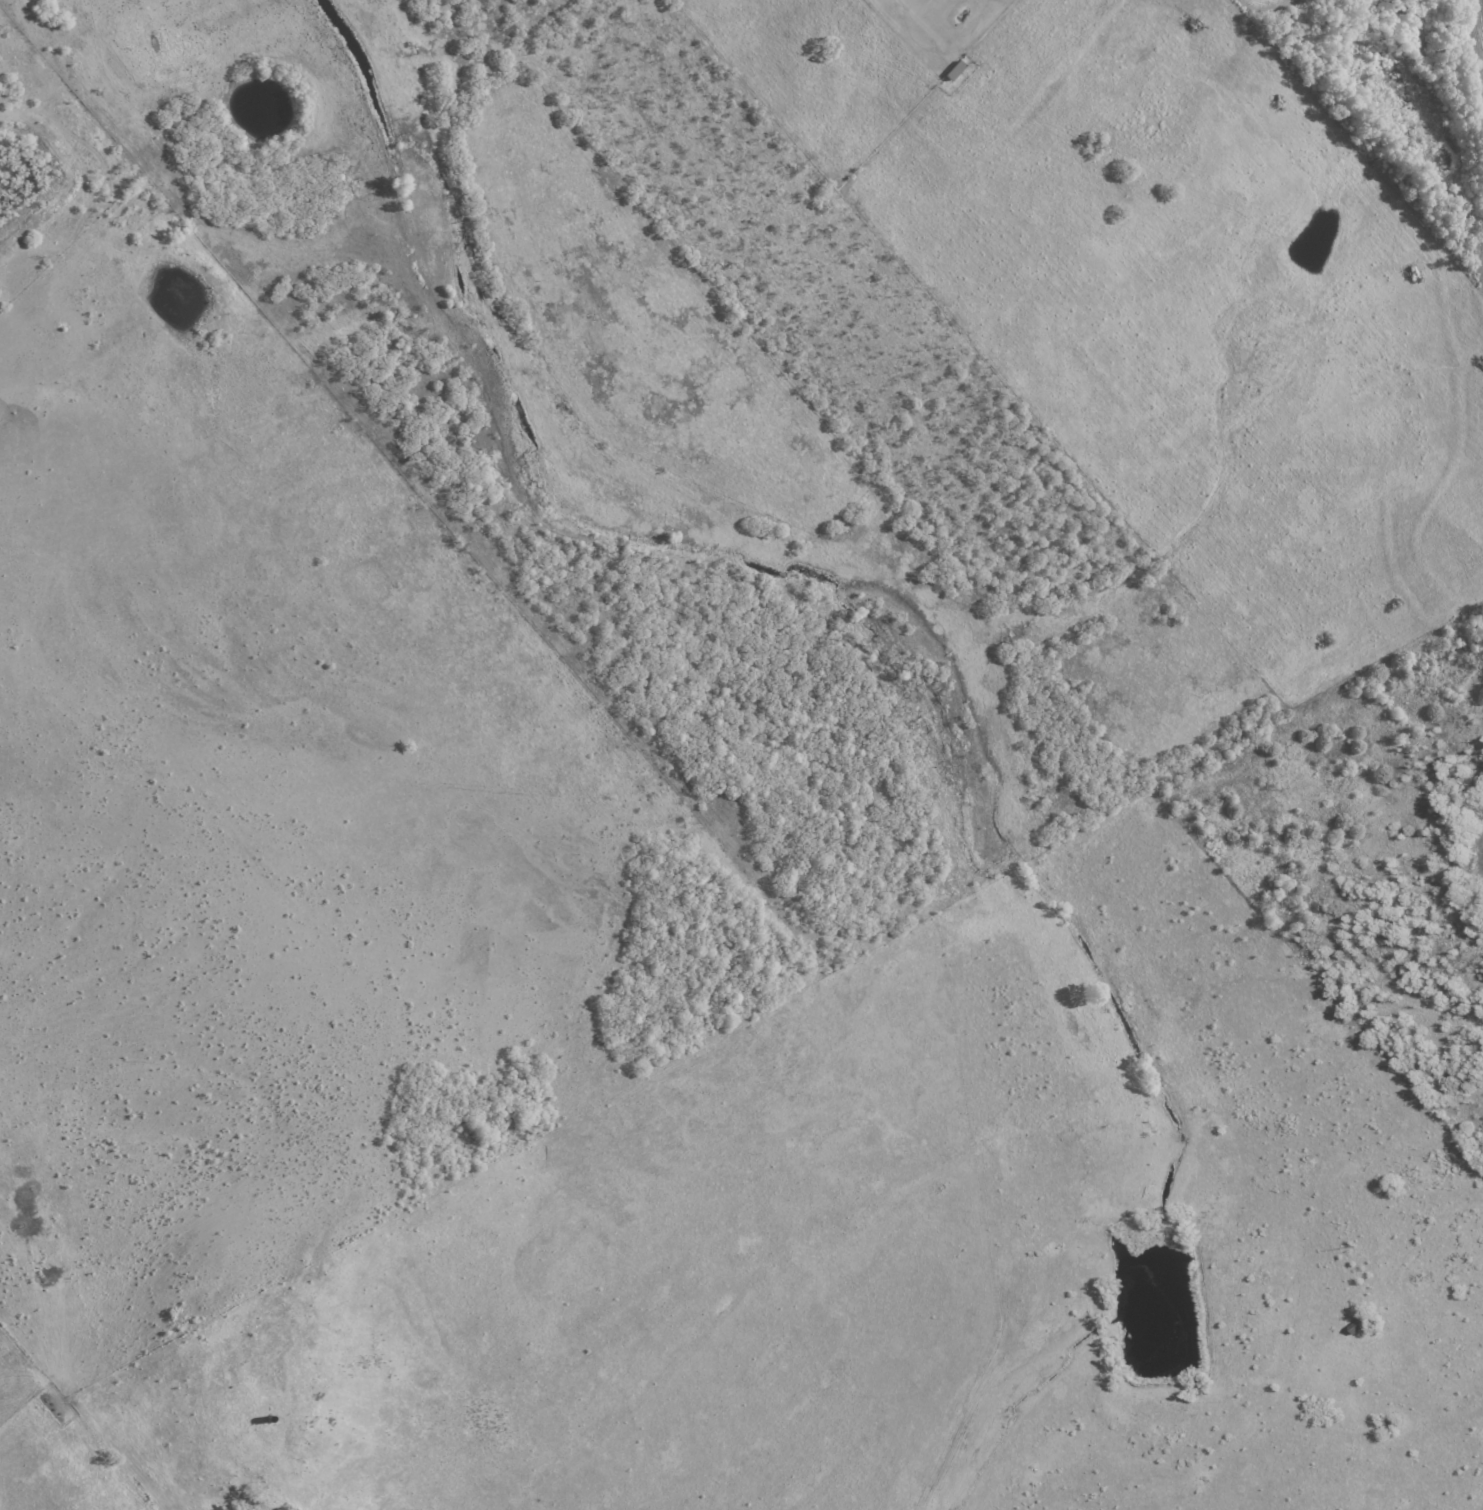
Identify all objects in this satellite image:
road: (17, 1400)

